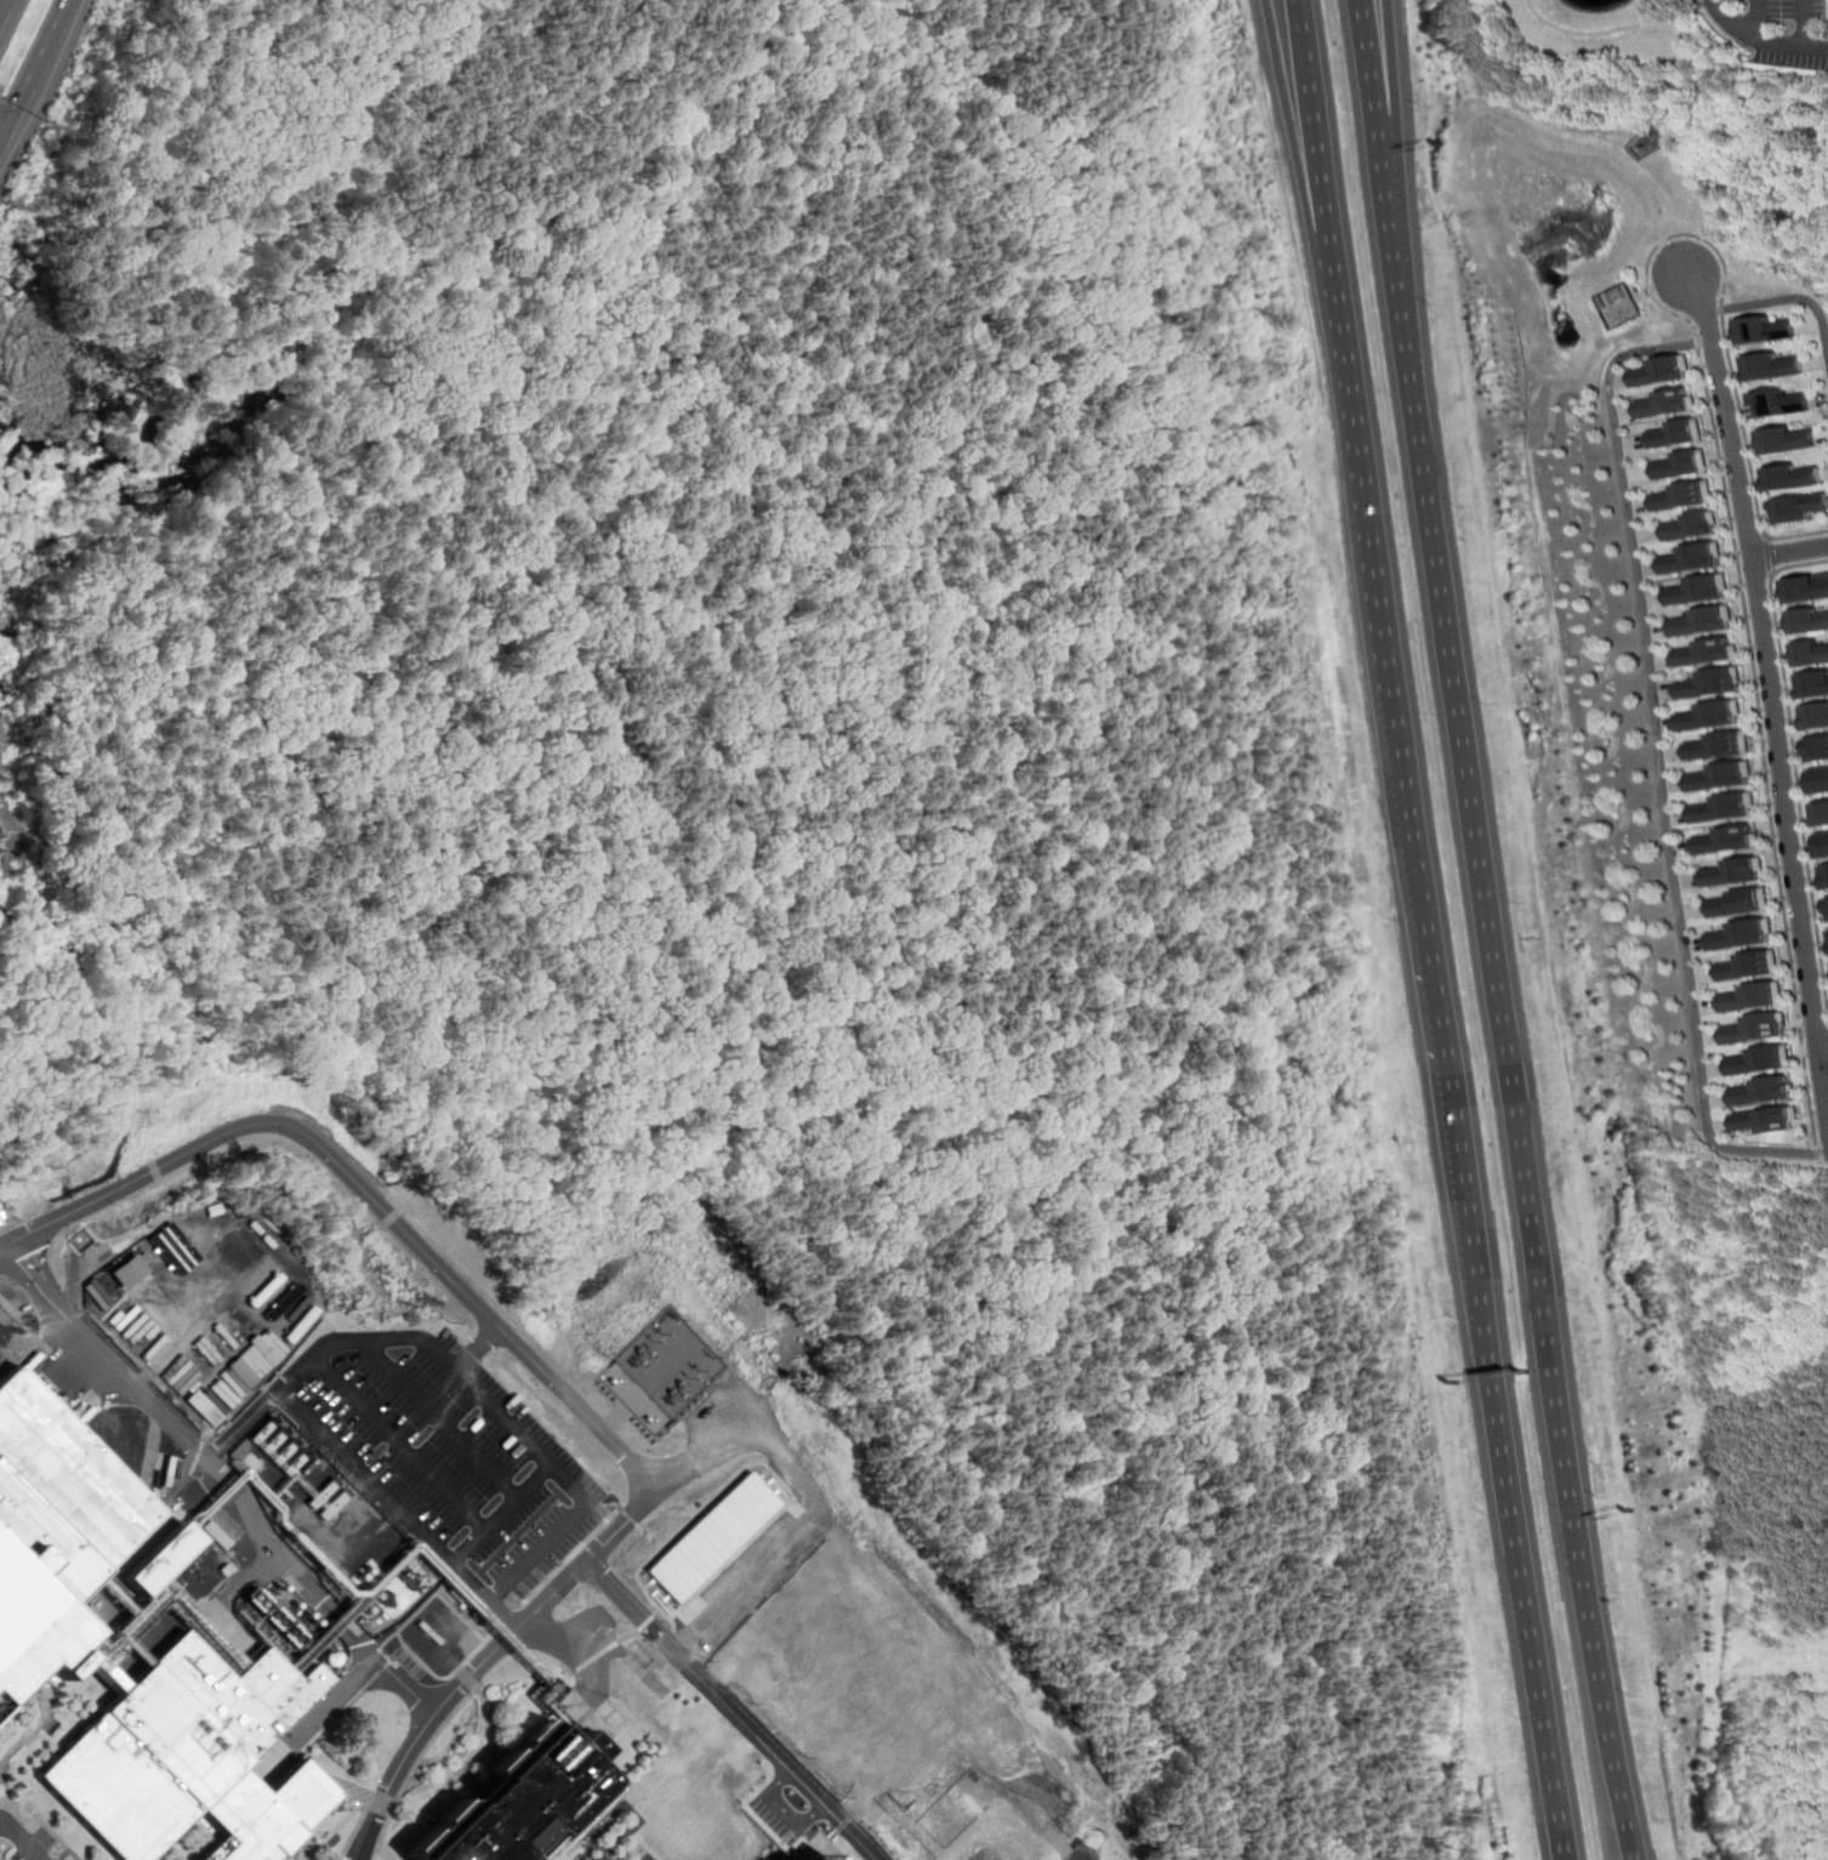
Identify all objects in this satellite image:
road: (2, 6)
road: (1730, 18)
road: (1759, 18)
road: (1715, 23)
road: (1804, 23)
parking lot: (1786, 32)
road: (1596, 34)
road: (1786, 45)
parking lot: (1826, 61)
road: (35, 69)
road: (1302, 135)
road: (1317, 135)
road: (1397, 170)
road: (1652, 292)
road: (1773, 303)
building: (1615, 305)
building: (1769, 330)
building: (1773, 366)
building: (1659, 370)
building: (1662, 403)
building: (1782, 403)
building: (1673, 433)
building: (1786, 438)
building: (1676, 463)
road: (1719, 474)
building: (1792, 476)
building: (1678, 495)
building: (1799, 507)
building: (1685, 527)
road: (1787, 548)
road: (1762, 556)
building: (1689, 558)
building: (1804, 587)
building: (1691, 591)
building: (1805, 620)
building: (1697, 621)
building: (1701, 653)
building: (1809, 654)
road: (1396, 675)
building: (1811, 683)
building: (1705, 684)
road: (1766, 694)
building: (1813, 716)
building: (1708, 717)
building: (1715, 746)
building: (1816, 747)
road: (1656, 753)
road: (1790, 761)
building: (1718, 778)
building: (1816, 781)
building: (1724, 809)
building: (1820, 814)
road: (1480, 821)
building: (1727, 841)
building: (1821, 844)
building: (1735, 872)
building: (1826, 875)
building: (1827, 900)
building: (1741, 905)
building: (1743, 935)
building: (1748, 966)
building: (1753, 996)
building: (1756, 1028)
road: (1823, 1046)
building: (1764, 1060)
building: (1765, 1091)
building: (1770, 1120)
road: (374, 1198)
building: (173, 1247)
building: (129, 1269)
road: (40, 1347)
road: (479, 1348)
road: (314, 1355)
road: (443, 1417)
road: (241, 1424)
road: (399, 1443)
parking lot: (449, 1455)
road: (700, 1458)
road: (1511, 1471)
road: (500, 1513)
building: (53, 1526)
road: (267, 1532)
building: (712, 1535)
building: (160, 1557)
road: (528, 1564)
road: (733, 1710)
road: (1619, 1752)
building: (190, 1756)
building: (517, 1801)
road: (787, 1808)
road: (24, 1837)
road: (1090, 1841)
parking lot: (28, 1842)
building: (815, 1854)

